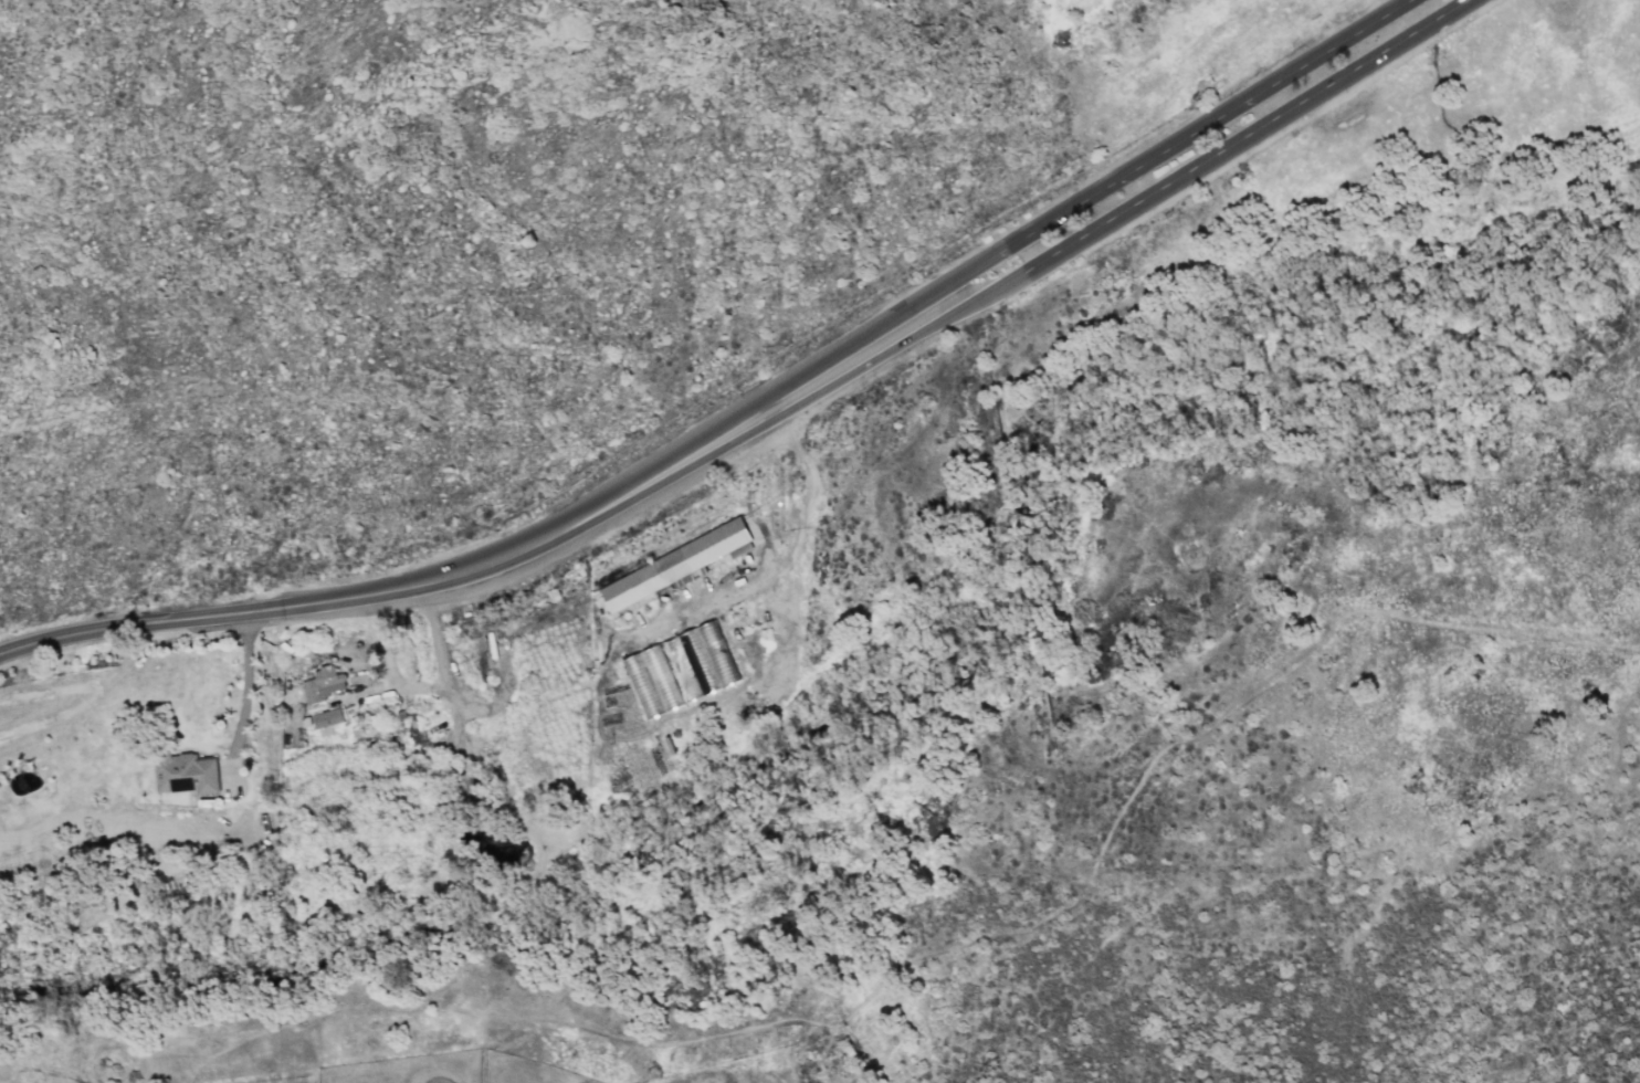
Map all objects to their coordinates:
road: (1398, 1)
road: (1082, 196)
road: (1118, 209)
road: (779, 566)
building: (667, 569)
road: (403, 586)
building: (681, 669)
building: (322, 683)
road: (236, 687)
road: (429, 687)
building: (326, 717)
building: (185, 772)

